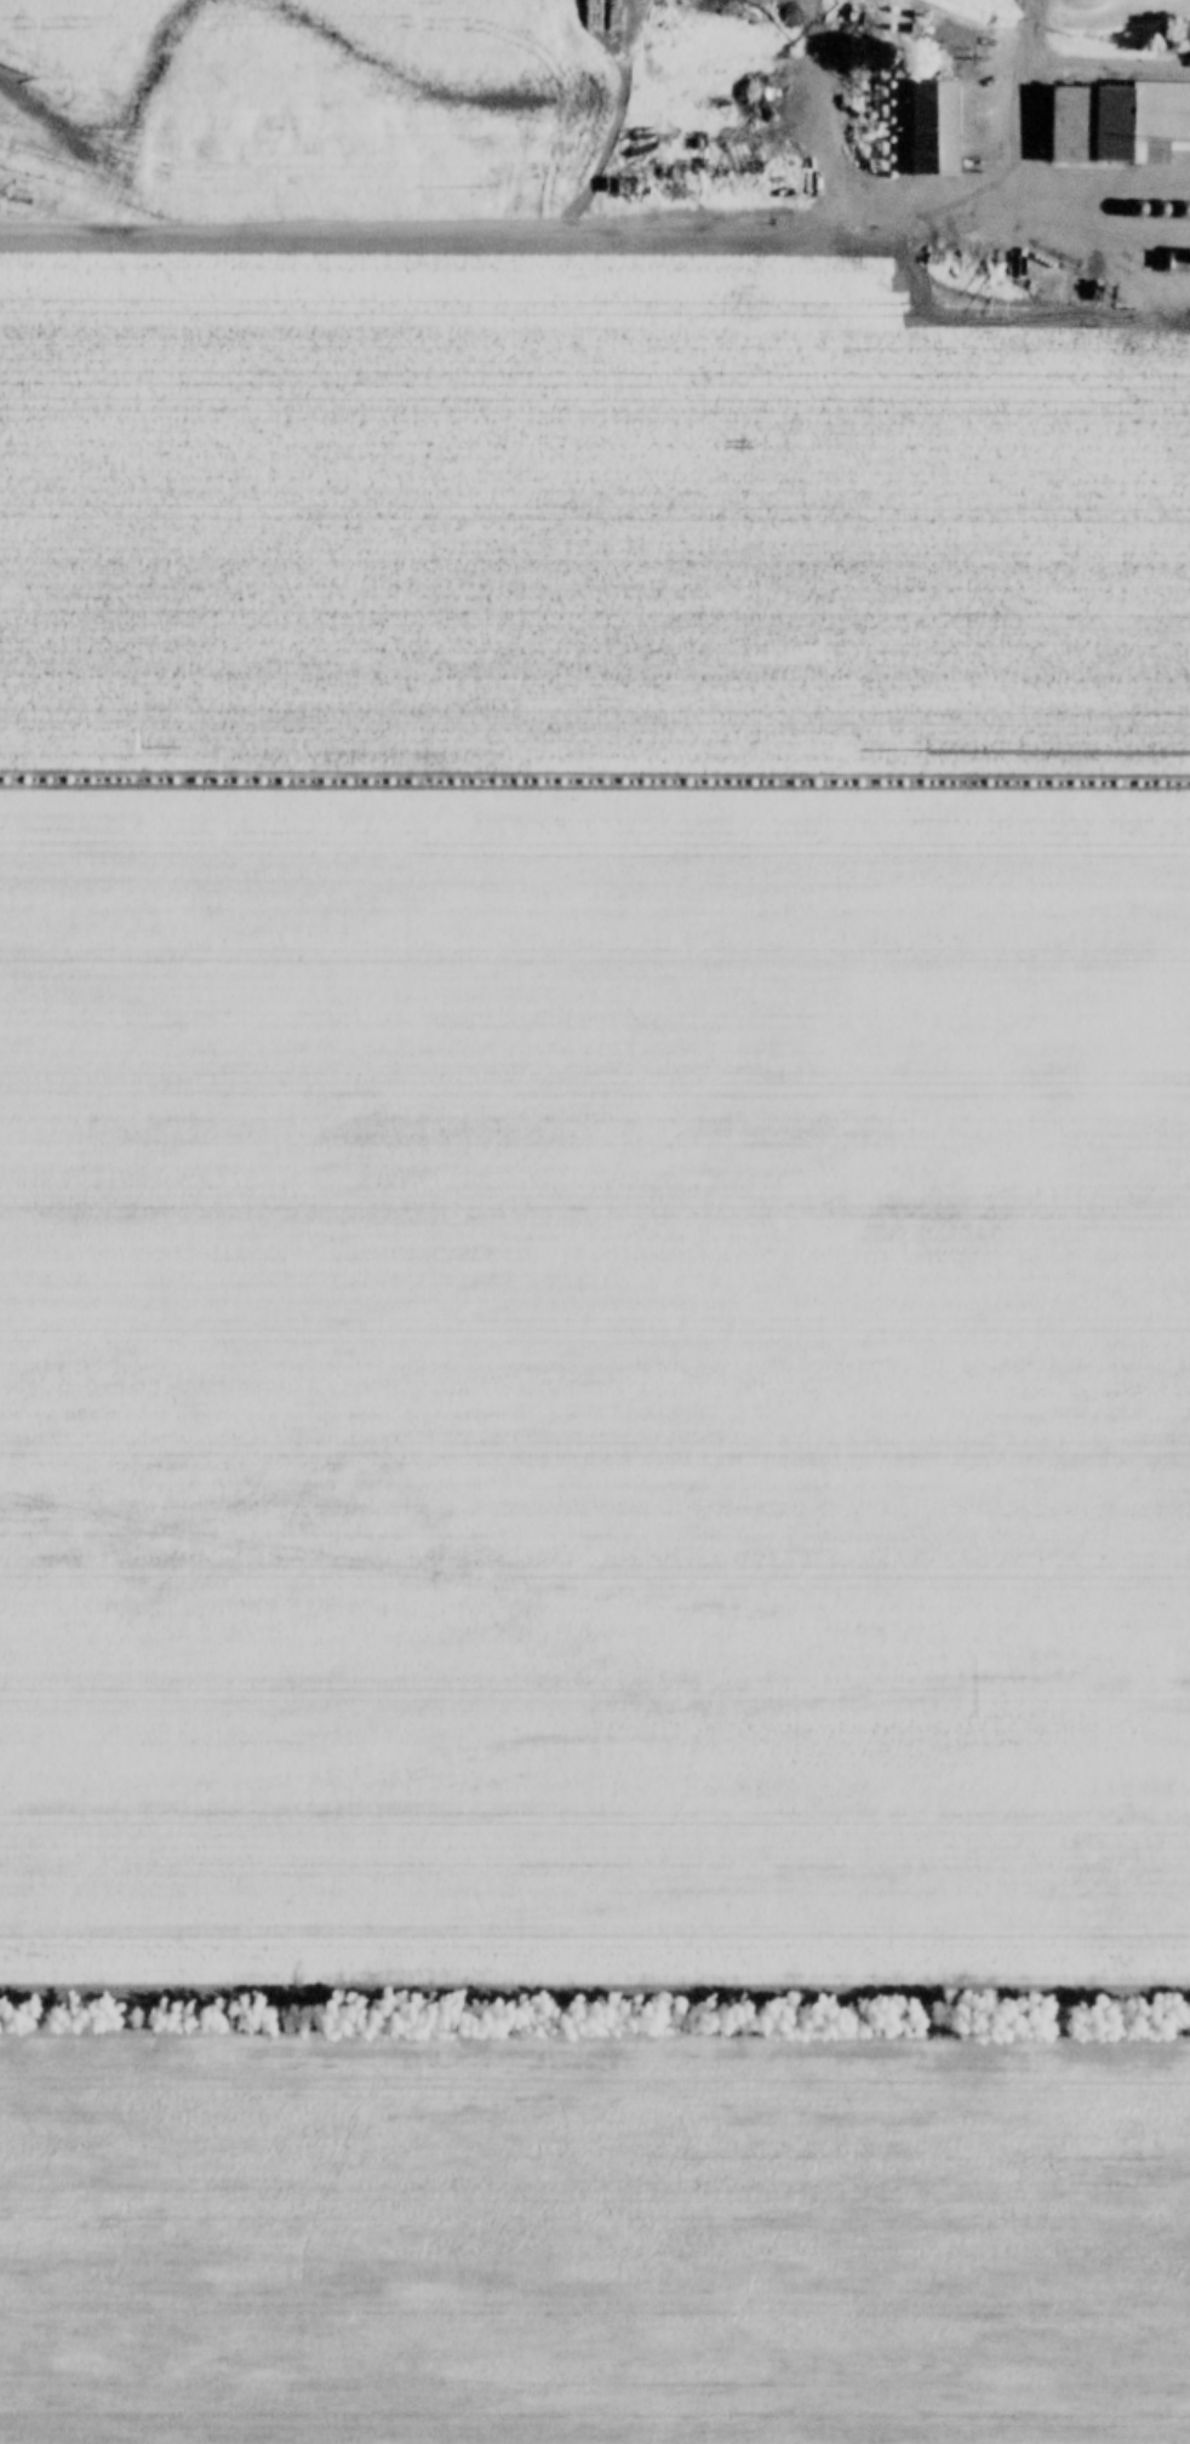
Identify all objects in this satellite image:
building: (1117, 125)
building: (933, 128)
road: (1025, 179)

